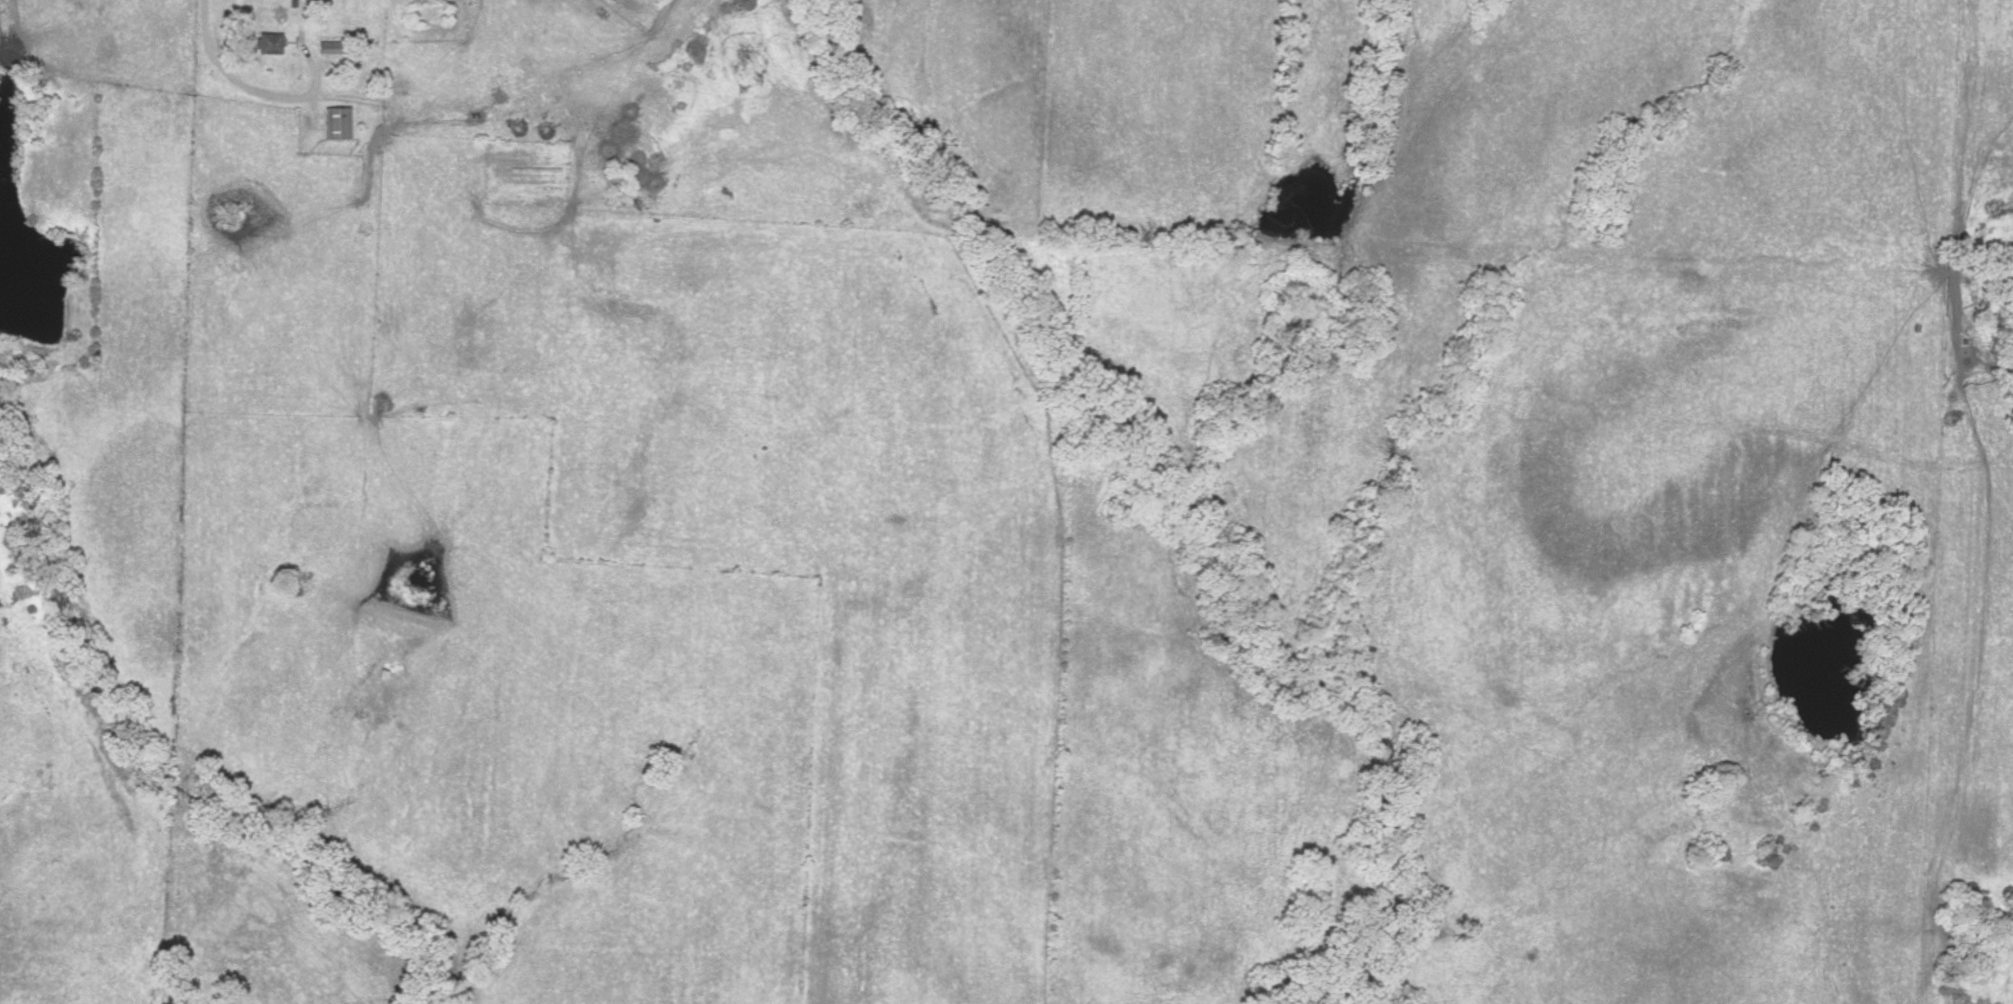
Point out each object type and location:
building: (269, 45)
road: (258, 96)
building: (335, 124)

